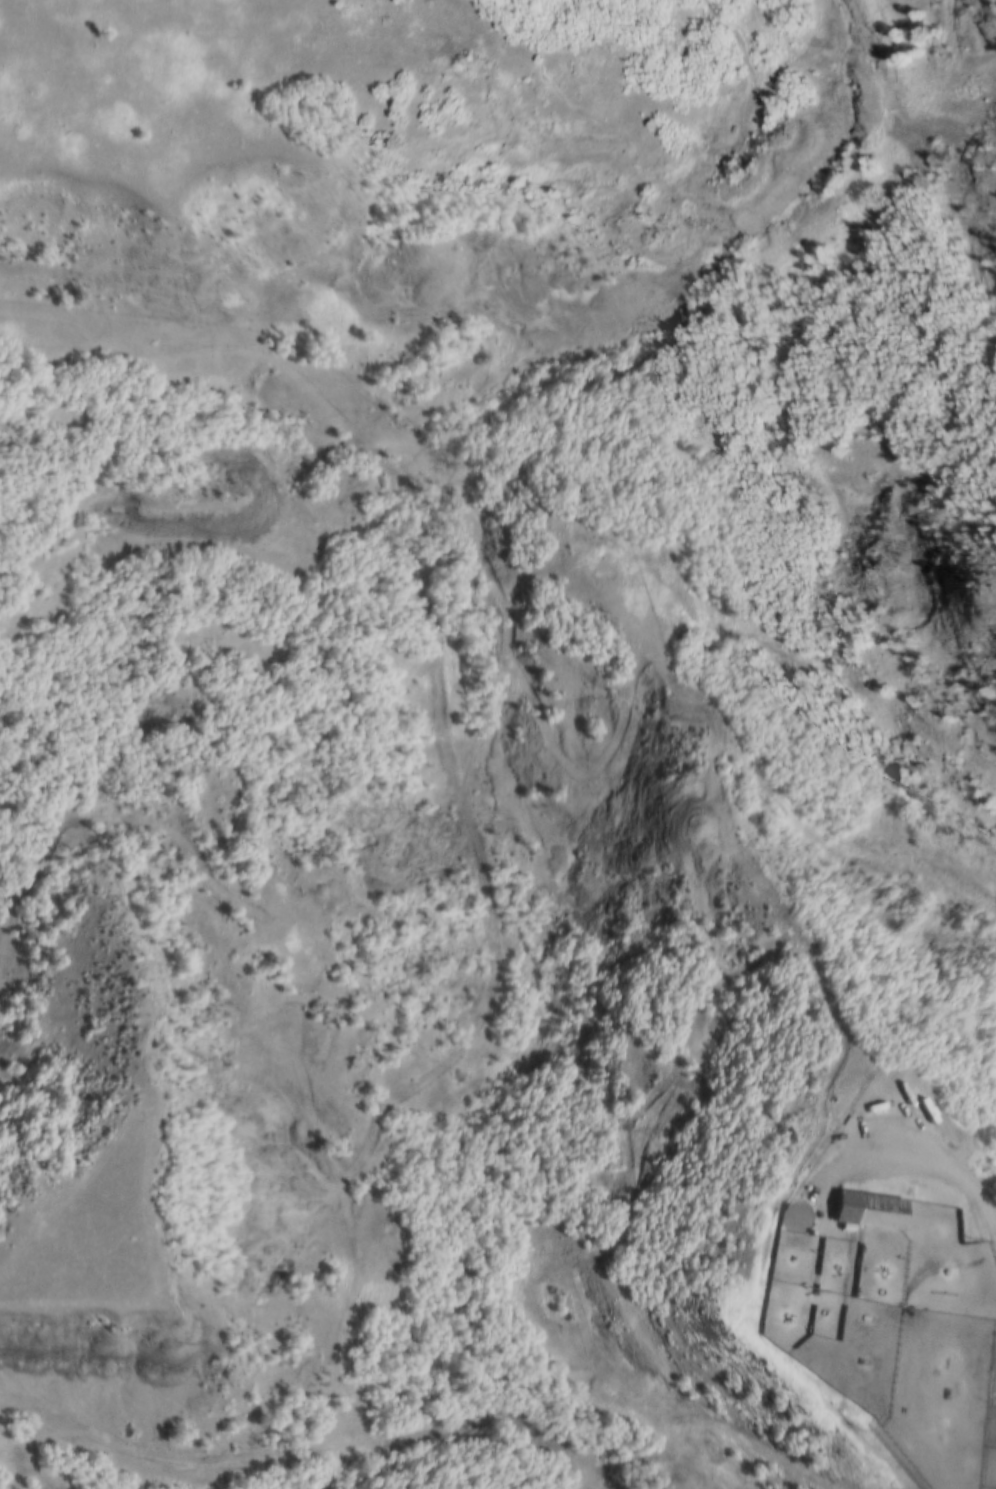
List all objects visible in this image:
road: (908, 1102)
building: (878, 1105)
building: (791, 1199)
building: (809, 1213)
building: (862, 1215)
road: (428, 1432)
building: (865, 1439)
road: (942, 1457)

